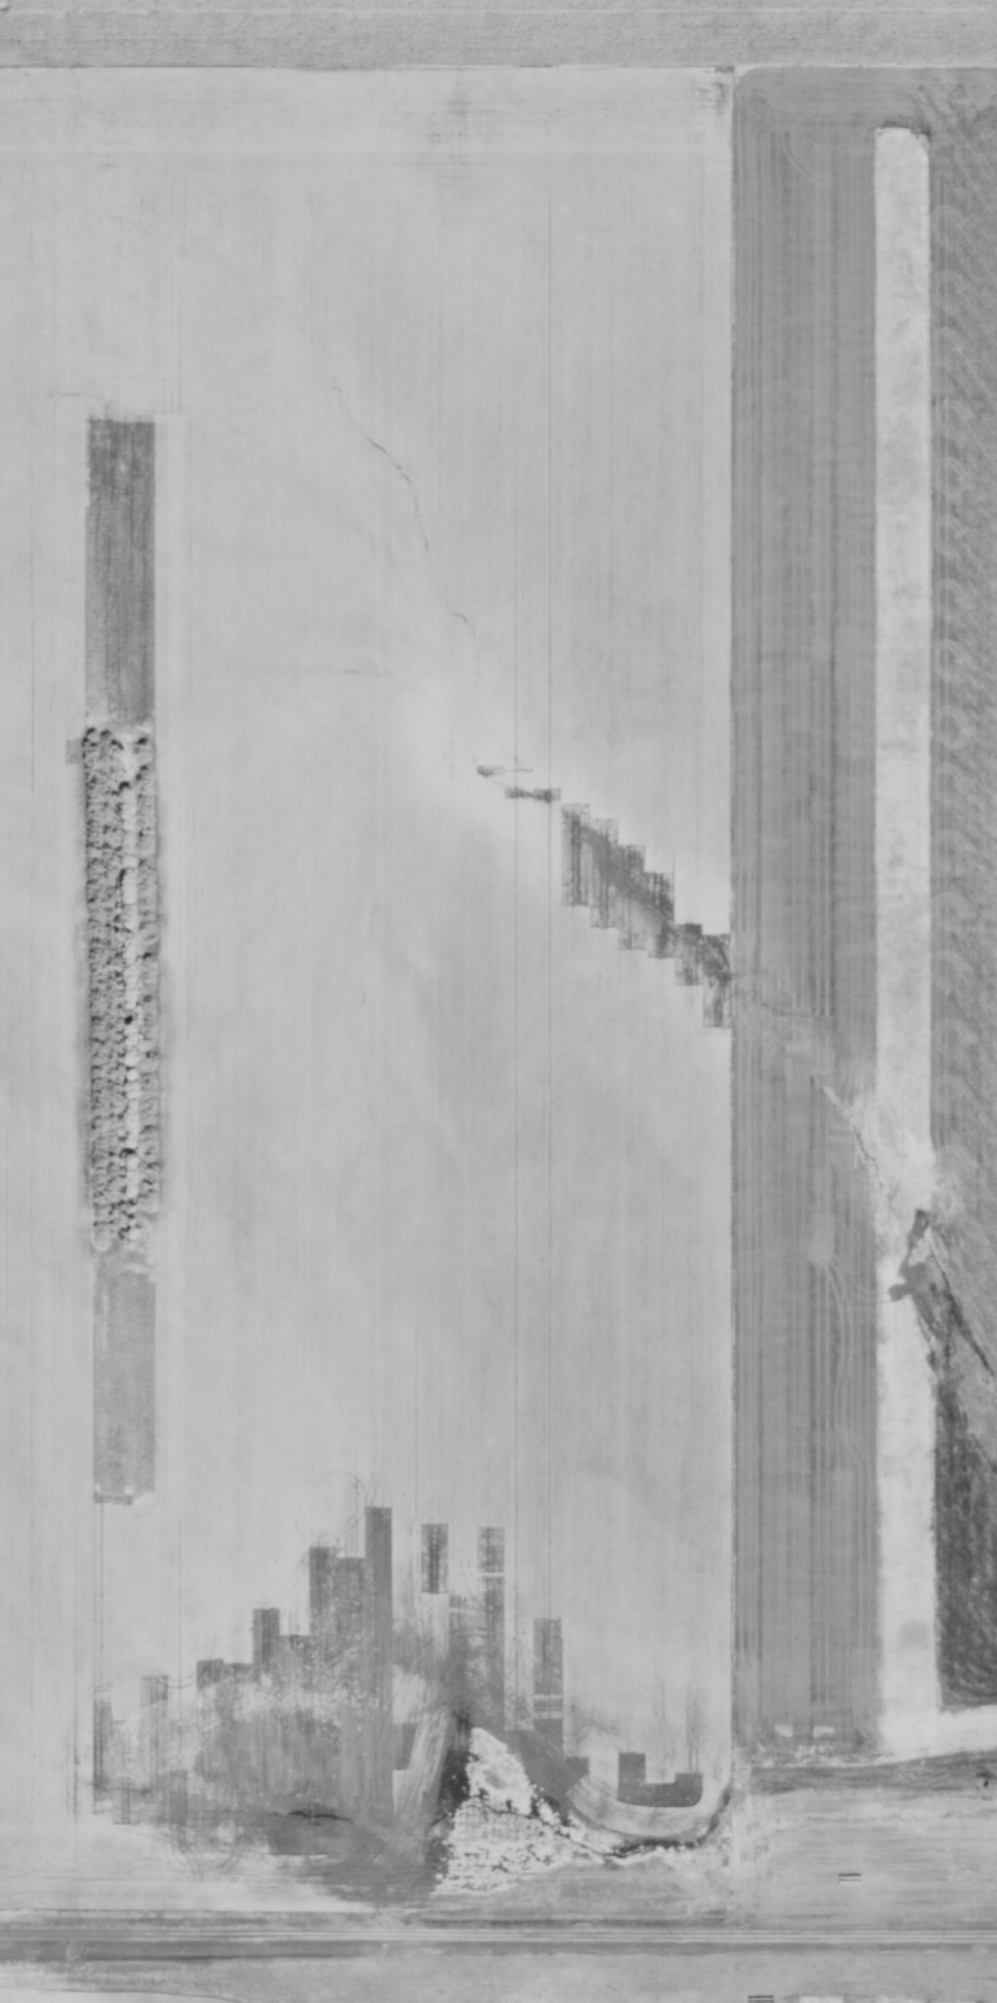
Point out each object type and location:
road: (498, 1933)

